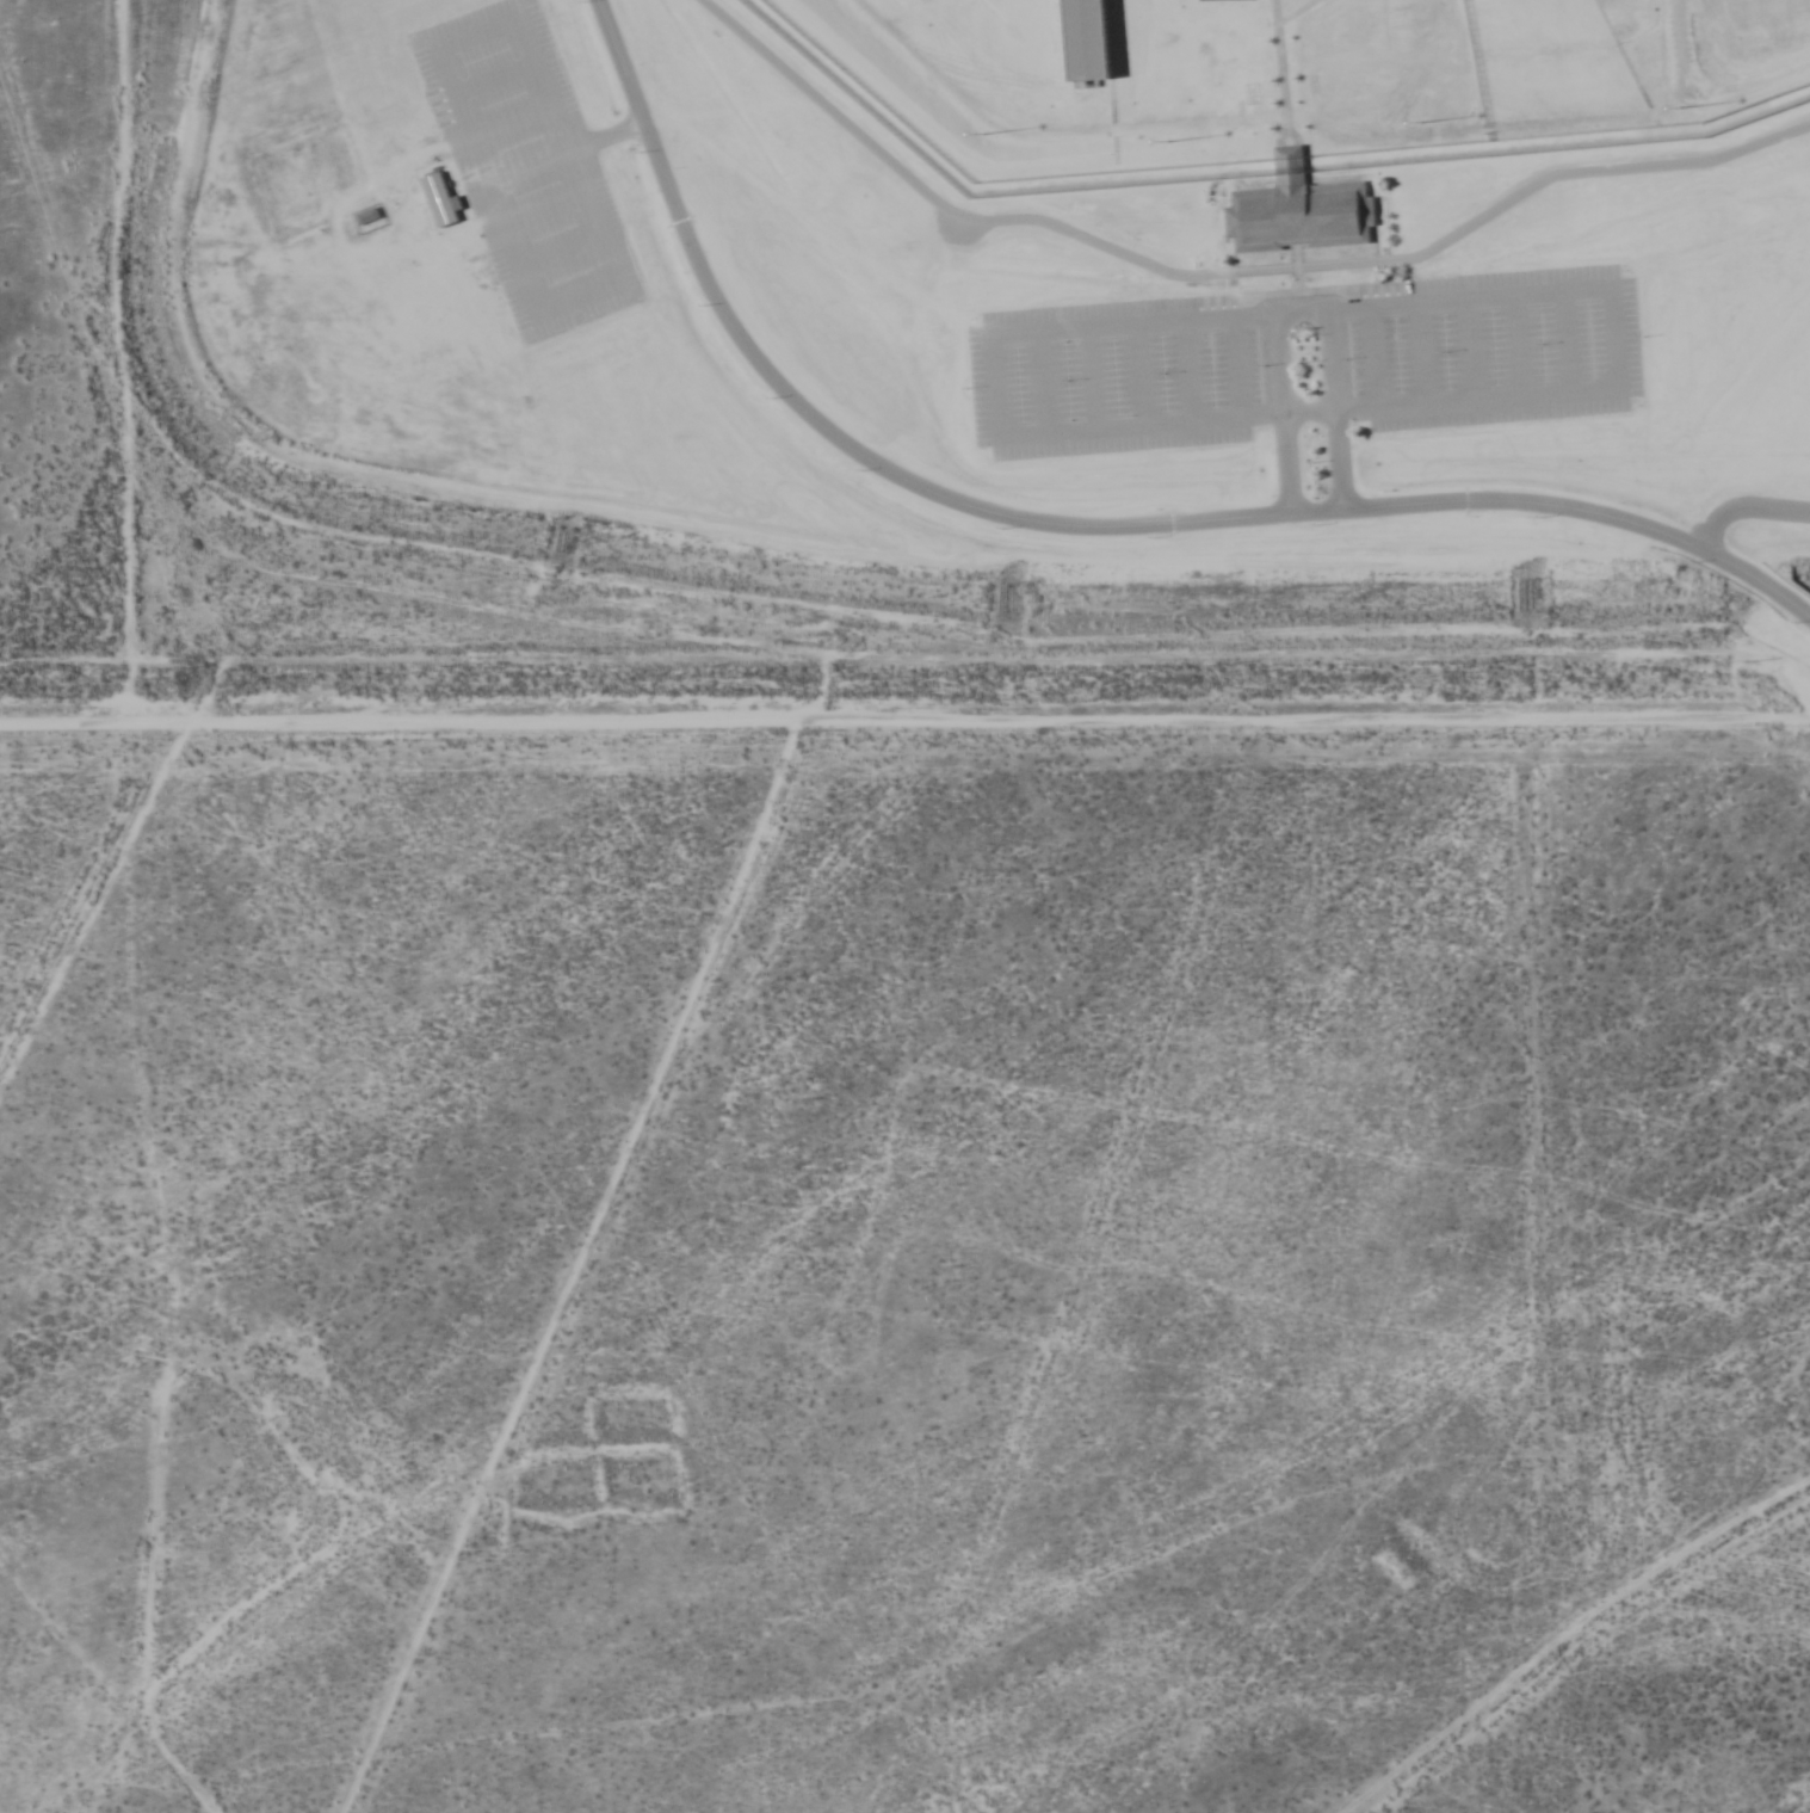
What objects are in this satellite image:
building: (1228, 0)
park: (1756, 24)
building: (1086, 38)
road: (494, 76)
road: (511, 122)
road: (564, 149)
parking lot: (526, 166)
building: (438, 198)
road: (543, 208)
building: (1299, 208)
road: (562, 254)
road: (1225, 271)
road: (1297, 277)
road: (617, 279)
road: (1298, 289)
road: (1274, 310)
road: (1567, 341)
road: (1518, 345)
road: (1470, 349)
road: (1422, 352)
road: (1372, 356)
parking lot: (1305, 359)
road: (1236, 366)
road: (1186, 370)
road: (1141, 374)
road: (1093, 377)
road: (1044, 381)
road: (1335, 408)
road: (1283, 412)
road: (1034, 518)
road: (1777, 592)

